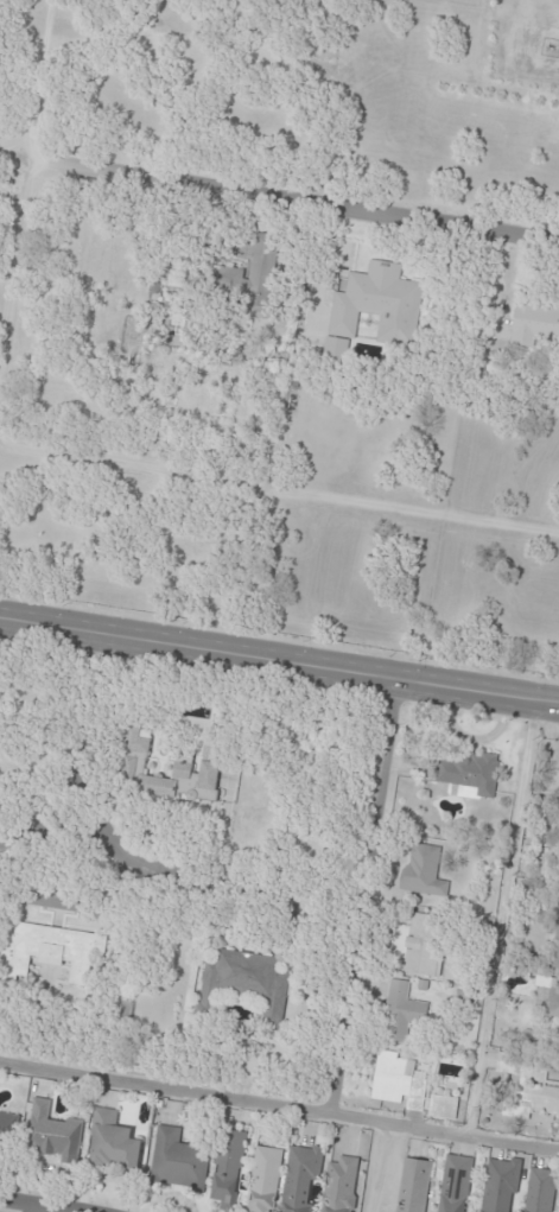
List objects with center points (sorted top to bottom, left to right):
road: (1, 166)
road: (388, 208)
building: (252, 283)
building: (379, 304)
building: (536, 323)
road: (279, 664)
road: (90, 762)
building: (191, 762)
building: (469, 774)
road: (142, 869)
building: (424, 872)
road: (363, 897)
building: (557, 938)
building: (420, 946)
building: (50, 950)
building: (246, 983)
building: (401, 1014)
building: (554, 1016)
building: (398, 1083)
building: (527, 1090)
road: (279, 1106)
building: (447, 1109)
building: (8, 1131)
building: (52, 1134)
building: (113, 1143)
building: (178, 1161)
building: (228, 1168)
building: (301, 1178)
building: (265, 1180)
building: (456, 1184)
building: (341, 1185)
building: (414, 1185)
building: (501, 1185)
building: (541, 1191)
road: (36, 1205)

